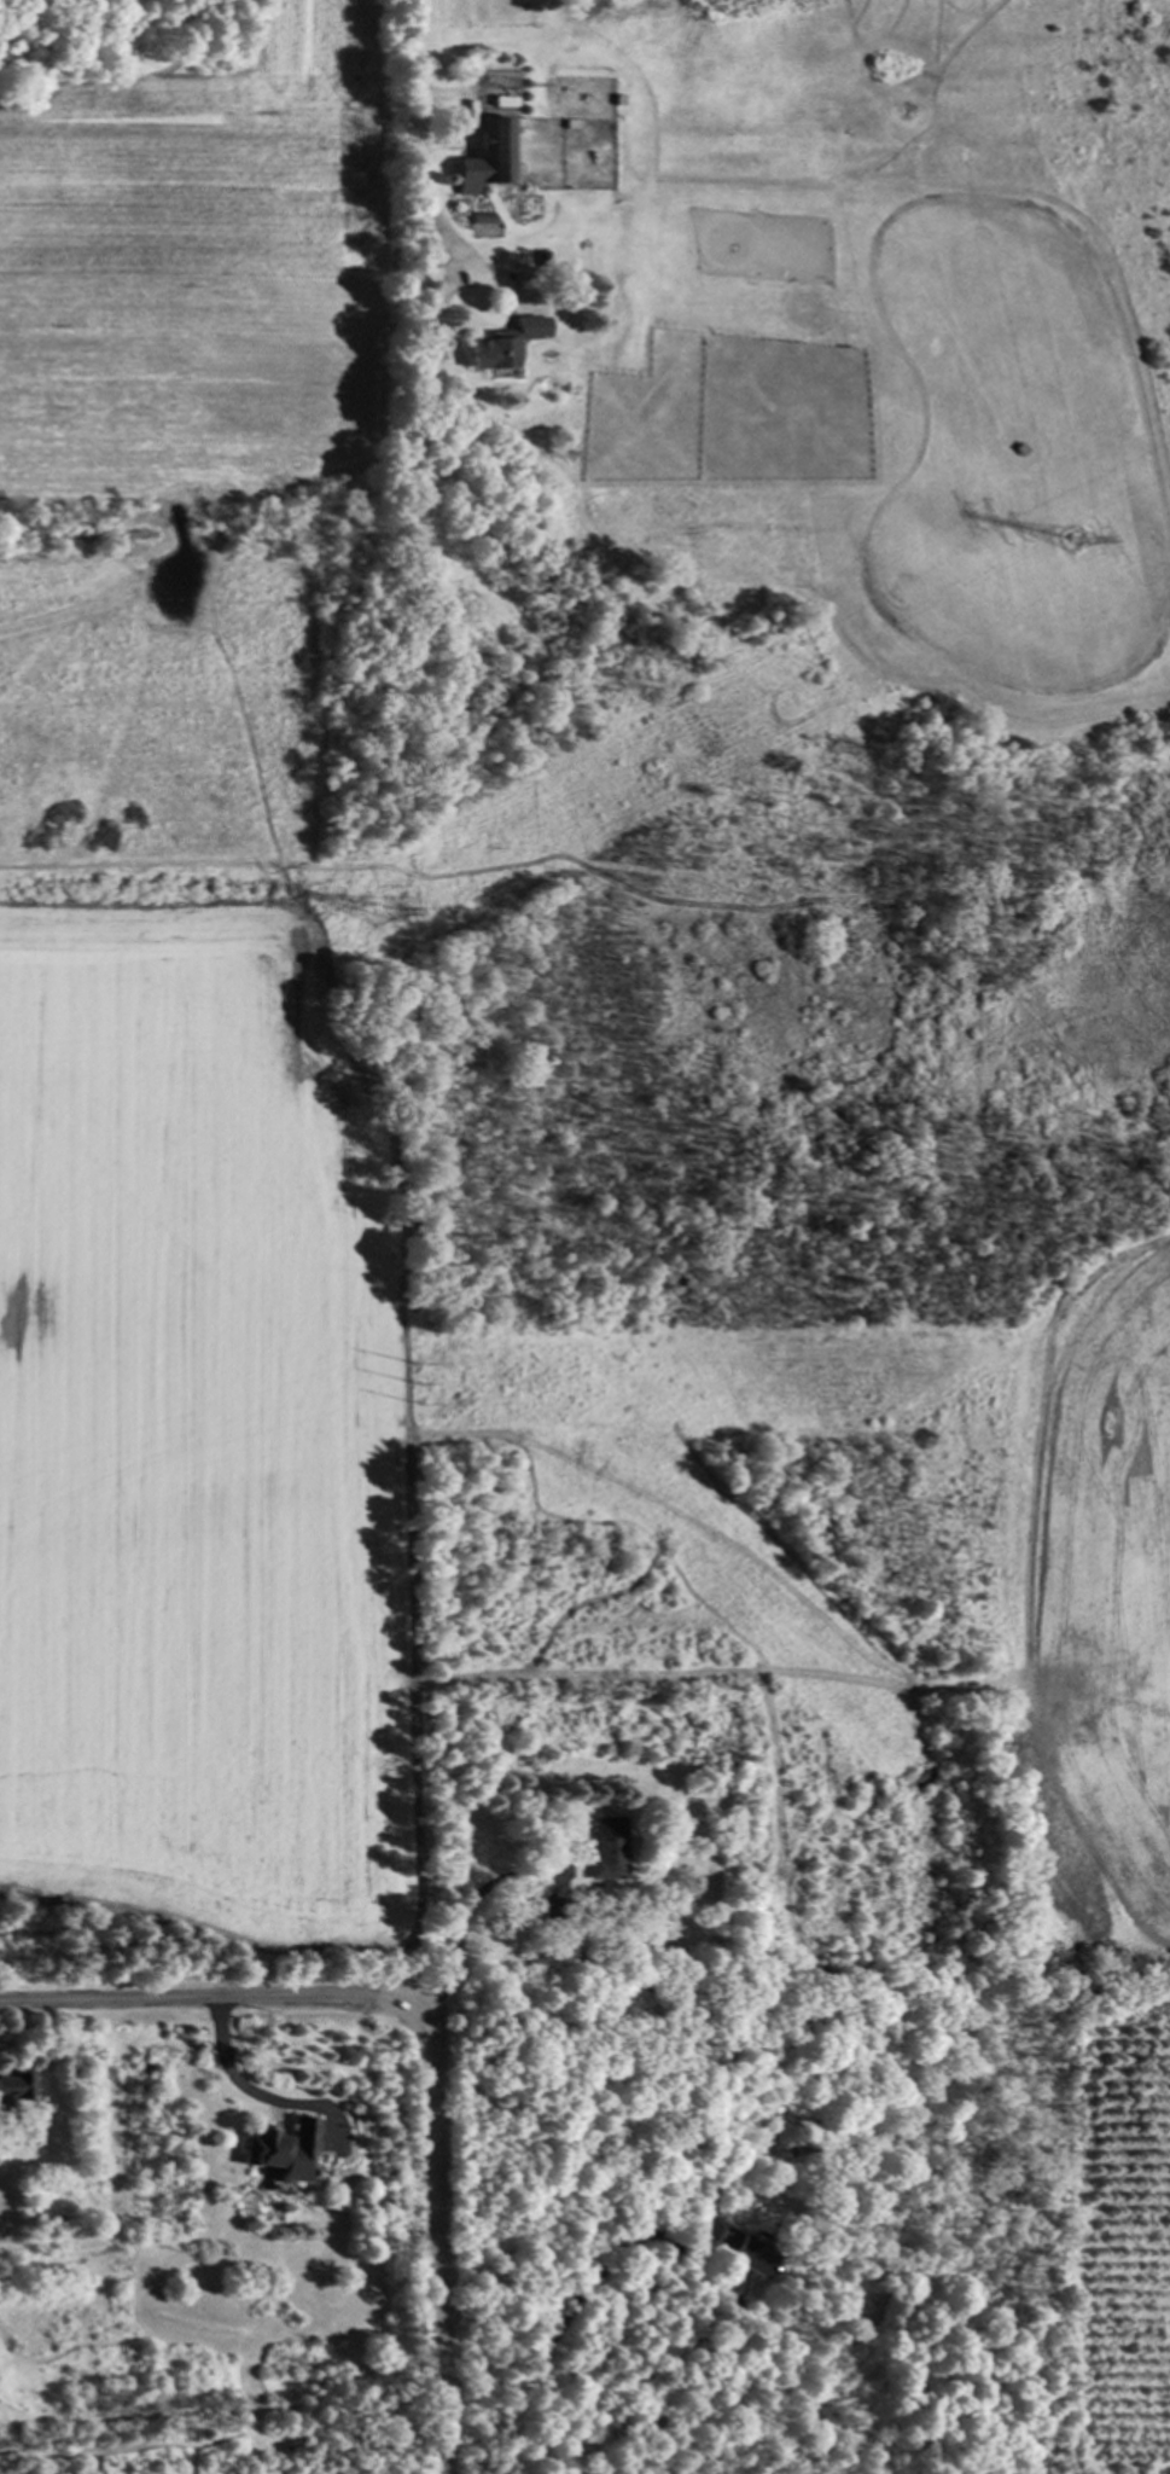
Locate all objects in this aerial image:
road: (421, 146)
building: (488, 158)
building: (502, 344)
power tower: (1075, 538)
power tower: (385, 913)
power tower: (421, 1383)
building: (605, 1848)
road: (467, 1917)
road: (213, 2004)
building: (19, 2086)
road: (255, 2092)
building: (289, 2150)
road: (427, 2251)
building: (745, 2252)
road: (574, 2311)

